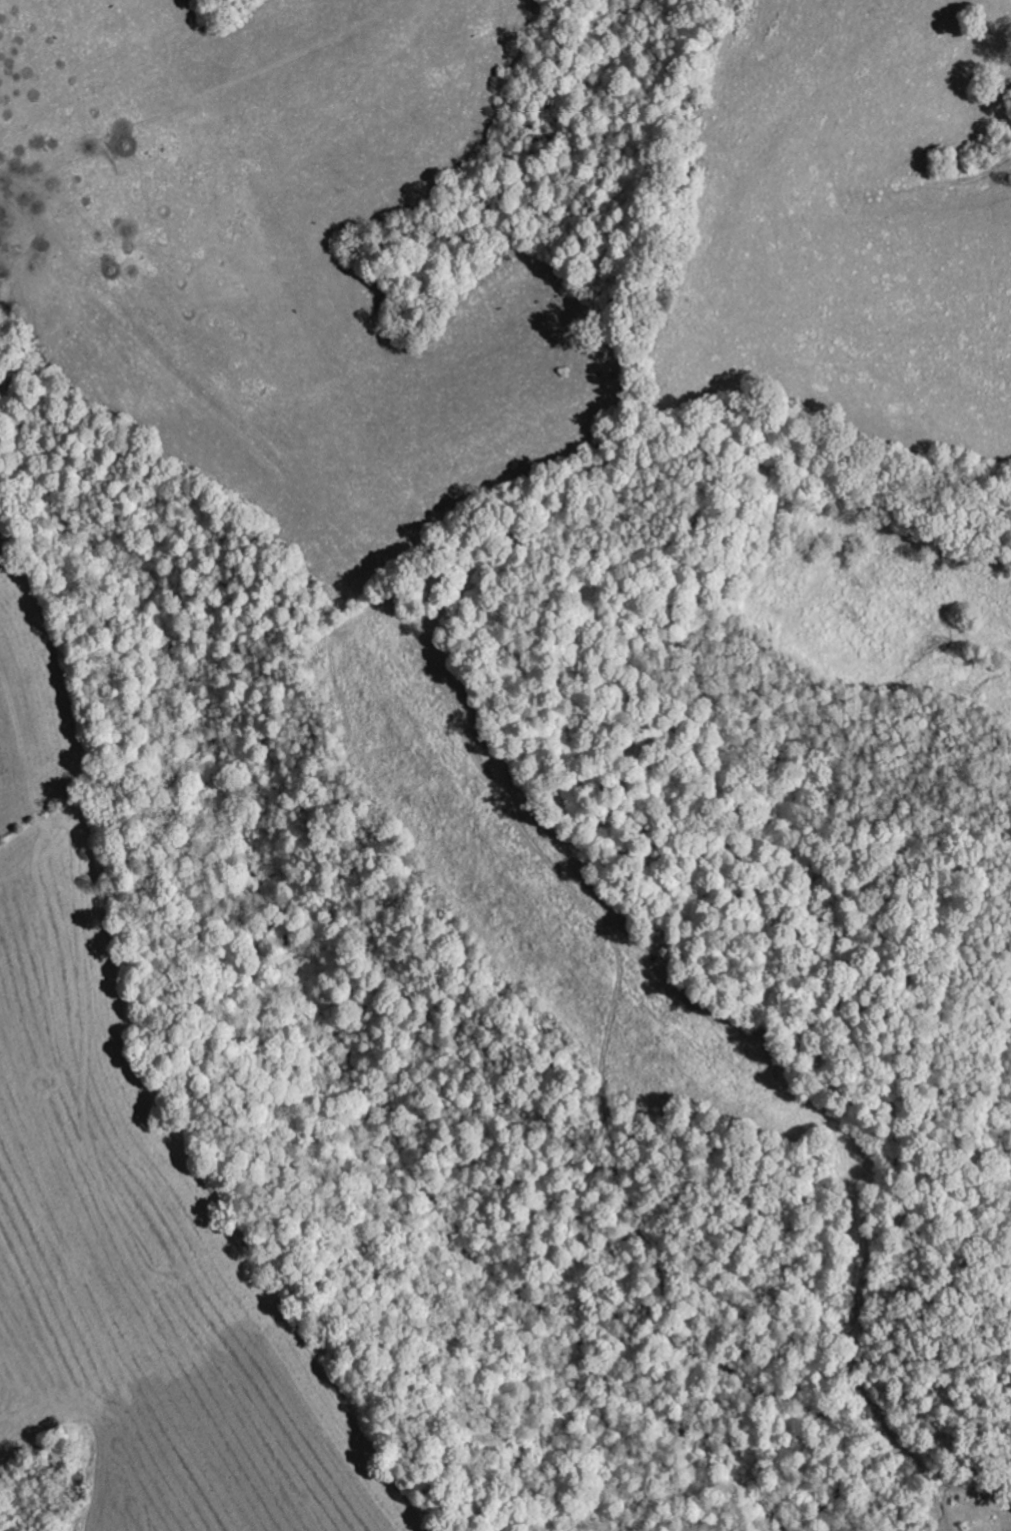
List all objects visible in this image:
road: (444, 502)

